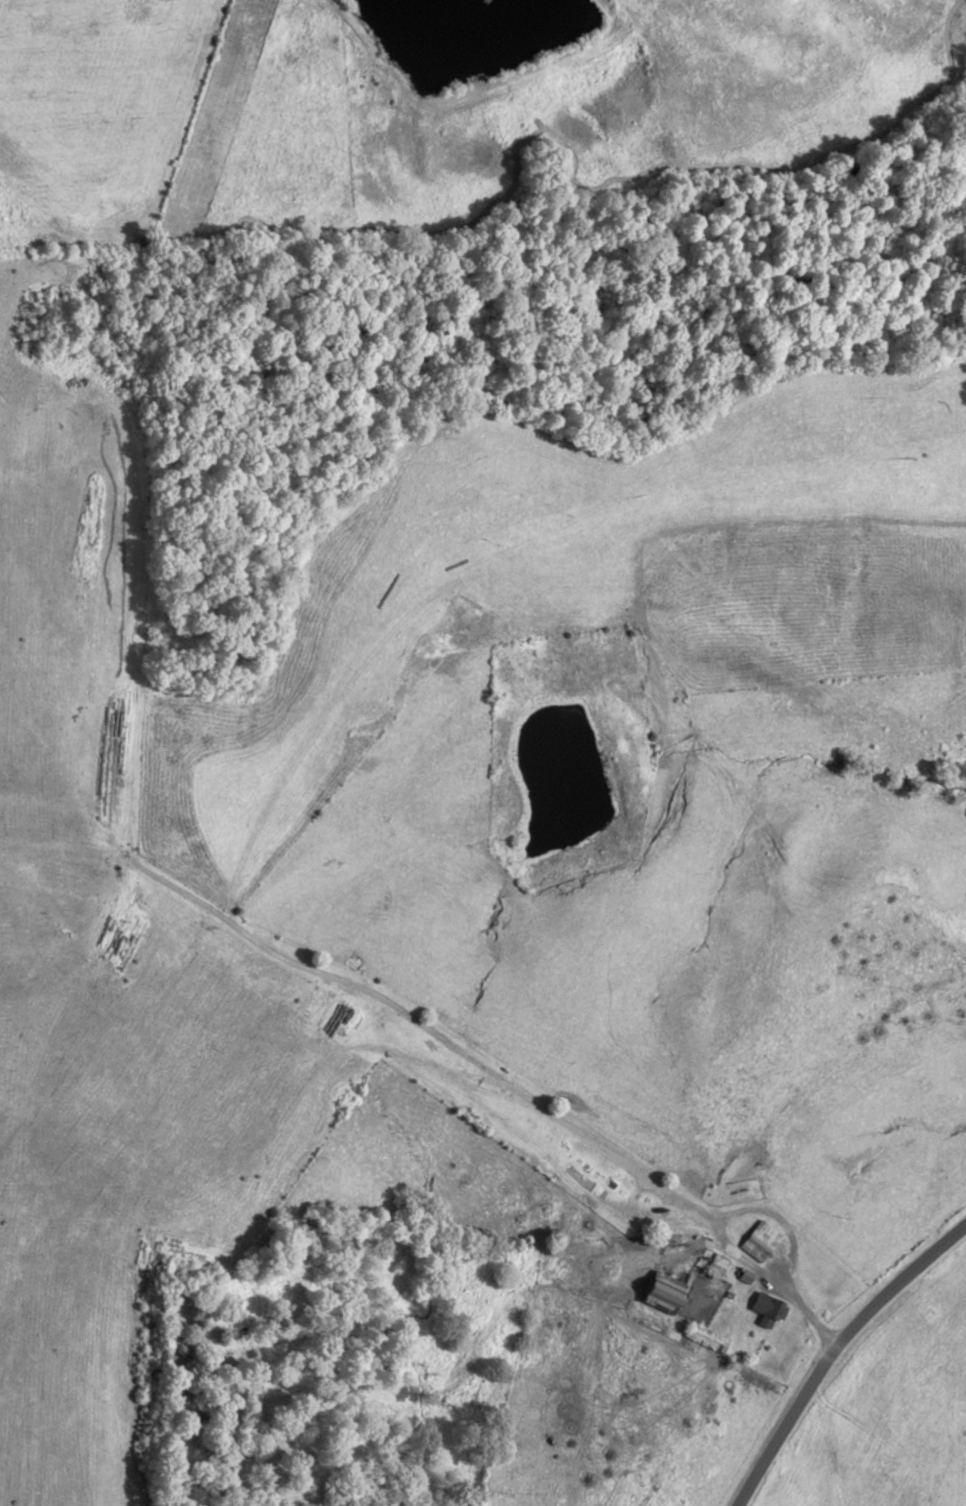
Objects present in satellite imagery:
road: (773, 1215)
building: (760, 1240)
building: (717, 1264)
building: (664, 1293)
building: (767, 1307)
building: (707, 1337)
road: (840, 1349)
road: (918, 1350)

